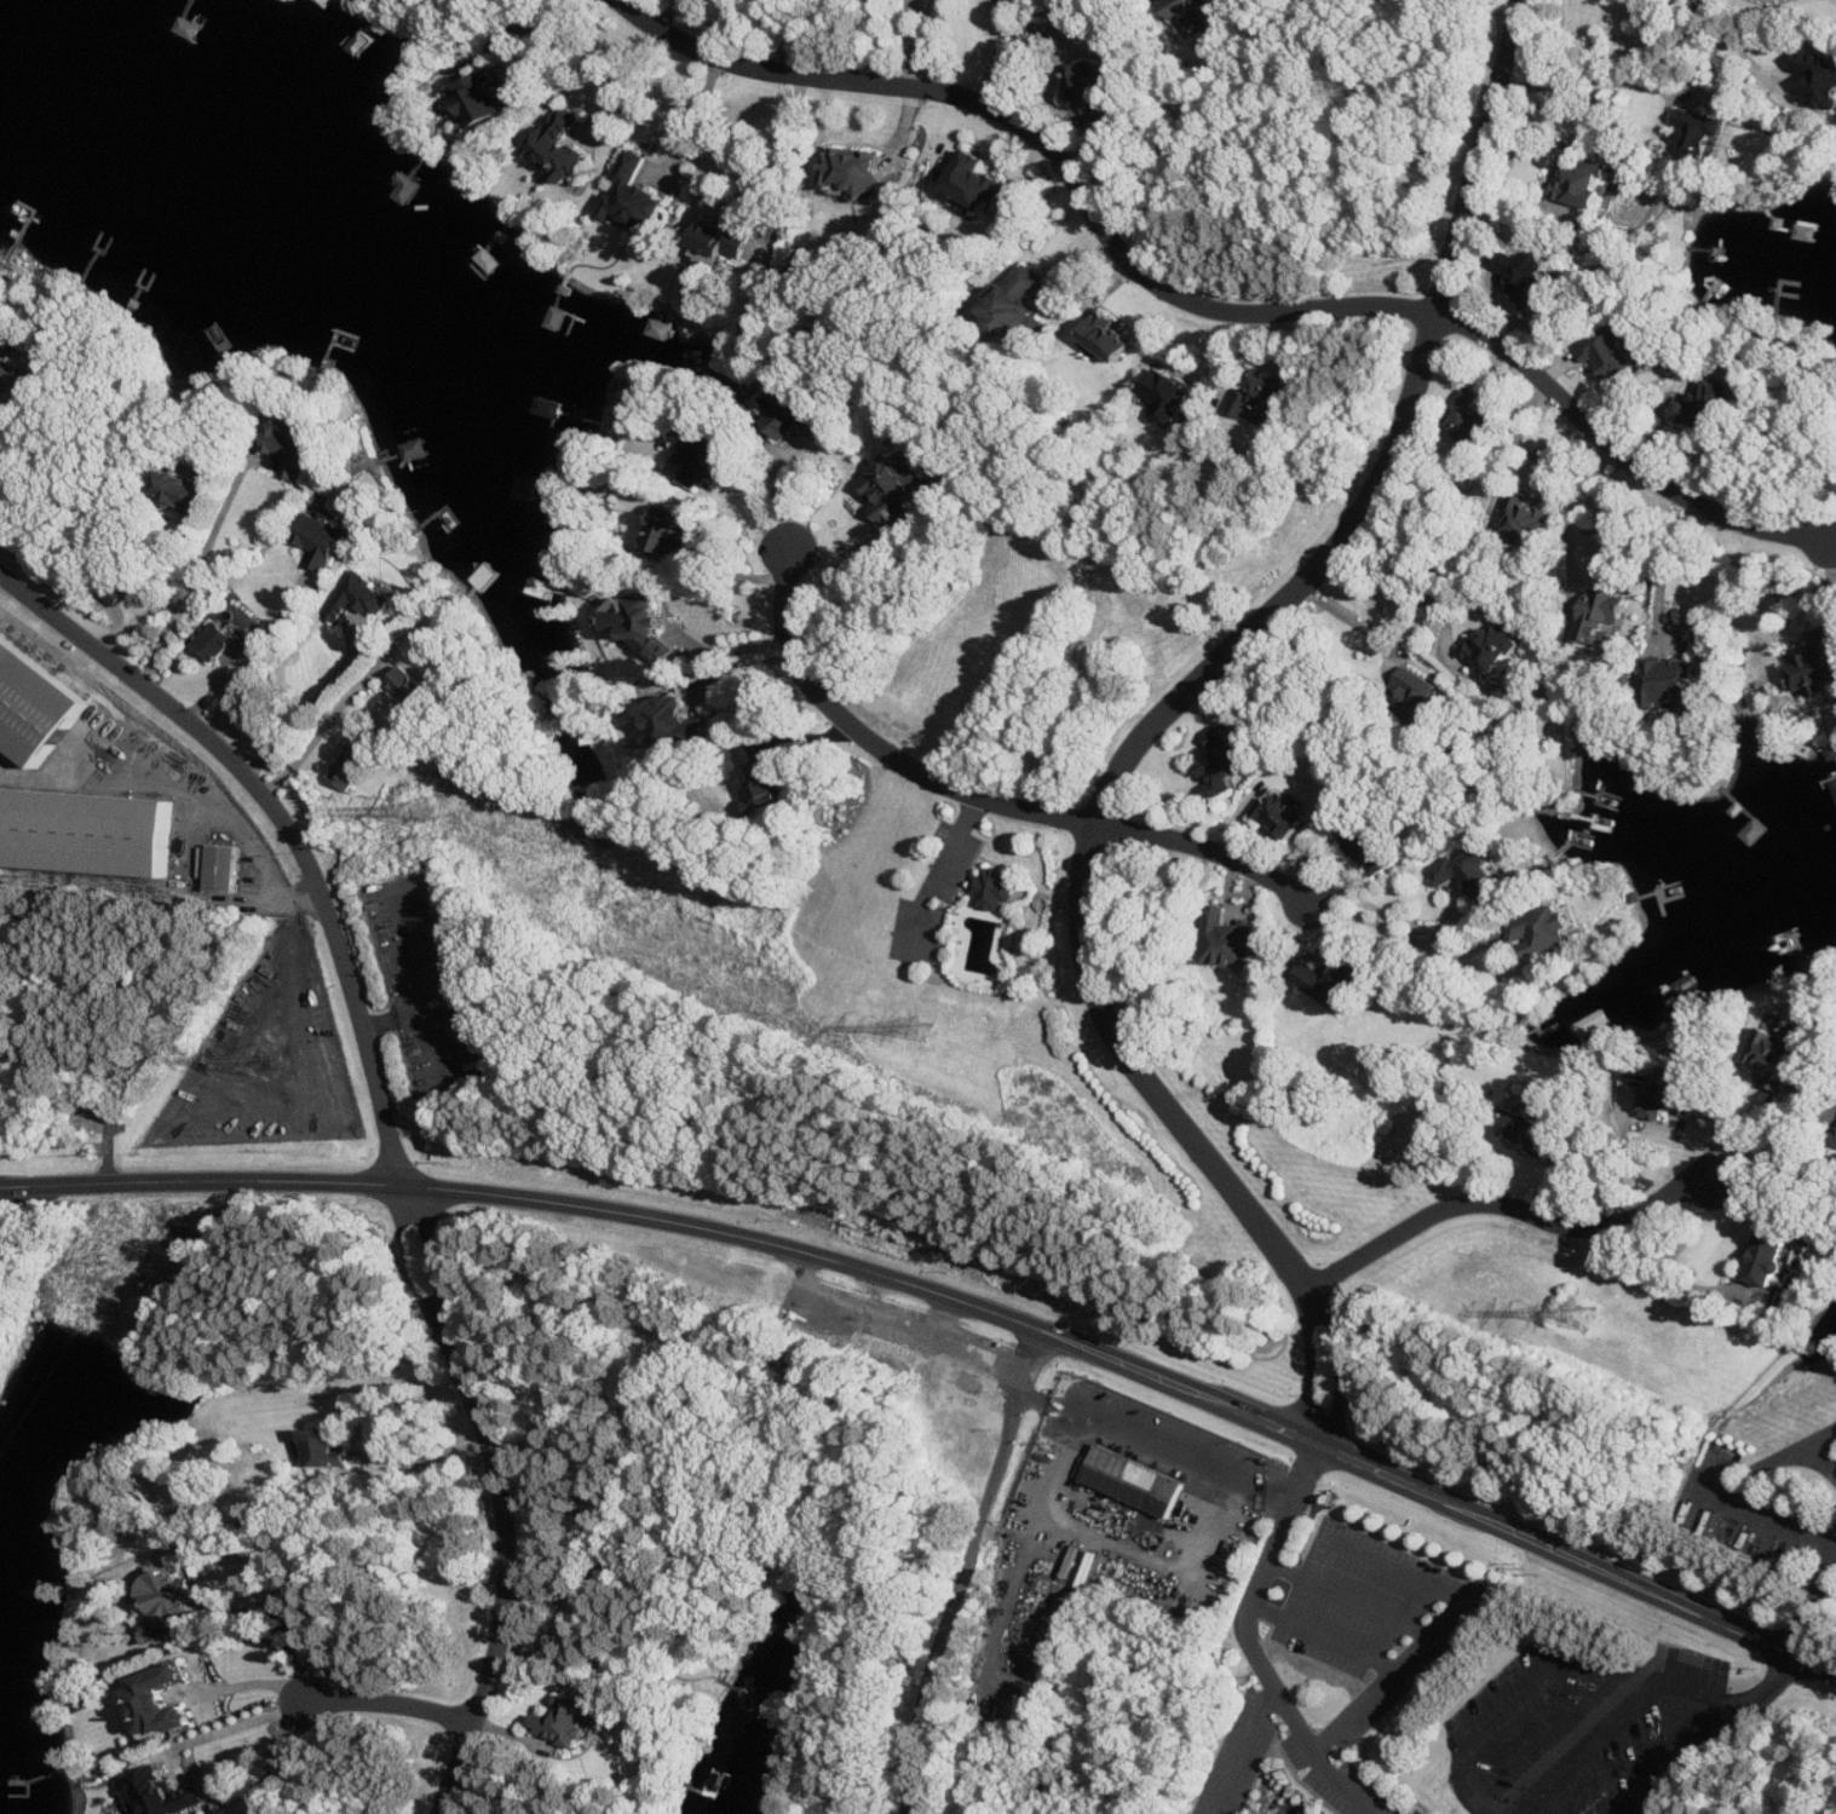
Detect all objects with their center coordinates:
building: (1190, 15)
road: (784, 36)
road: (887, 41)
road: (557, 45)
road: (1659, 47)
road: (1000, 52)
road: (1589, 76)
building: (1819, 77)
road: (632, 81)
building: (1094, 91)
building: (484, 100)
building: (1699, 134)
building: (562, 146)
road: (1049, 148)
road: (793, 150)
road: (1187, 154)
building: (856, 169)
building: (978, 182)
building: (1584, 190)
building: (635, 196)
building: (723, 243)
building: (1529, 277)
building: (1018, 307)
building: (660, 329)
building: (1110, 338)
building: (1611, 353)
building: (25, 376)
building: (1168, 396)
building: (1260, 398)
building: (1709, 408)
building: (795, 414)
road: (6, 415)
building: (1470, 419)
road: (1524, 436)
building: (292, 450)
road: (1623, 451)
building: (707, 456)
building: (185, 490)
building: (892, 490)
road: (777, 495)
road: (1583, 507)
building: (1529, 520)
building: (670, 534)
building: (323, 542)
road: (845, 547)
road: (1667, 566)
road: (1427, 580)
road: (196, 582)
building: (362, 599)
road: (154, 605)
road: (1356, 618)
building: (1601, 620)
building: (648, 627)
building: (219, 641)
road: (730, 647)
building: (1493, 651)
road: (242, 661)
building: (1818, 666)
road: (1213, 668)
building: (1673, 685)
building: (413, 689)
building: (1417, 691)
building: (35, 703)
road: (304, 716)
building: (678, 724)
road: (317, 738)
road: (880, 745)
building: (1222, 764)
building: (356, 765)
building: (769, 783)
building: (1835, 785)
road: (188, 788)
power tower: (424, 810)
building: (1284, 816)
road: (287, 823)
building: (86, 833)
road: (1208, 848)
building: (1374, 852)
building: (225, 869)
building: (1475, 869)
road: (936, 870)
building: (995, 889)
building: (1548, 929)
road: (1408, 935)
building: (1234, 945)
building: (1335, 983)
park: (108, 995)
power tower: (922, 1025)
building: (1778, 1053)
power tower: (263, 1061)
building: (1659, 1095)
road: (1745, 1119)
road: (1779, 1131)
building: (1532, 1134)
road: (1778, 1153)
road: (1622, 1158)
road: (408, 1196)
road: (1509, 1204)
road: (437, 1259)
road: (418, 1266)
road: (1668, 1277)
road: (949, 1297)
power tower: (1587, 1315)
road: (1326, 1317)
road: (1821, 1440)
road: (1161, 1446)
building: (327, 1451)
road: (425, 1457)
road: (1306, 1474)
building: (1135, 1481)
road: (1763, 1513)
road: (1115, 1541)
road: (507, 1566)
road: (967, 1572)
road: (1462, 1594)
road: (298, 1601)
road: (1813, 1601)
building: (168, 1603)
road: (1370, 1607)
road: (1328, 1637)
road: (1619, 1664)
road: (1267, 1671)
road: (257, 1685)
road: (1705, 1693)
building: (163, 1701)
road: (395, 1704)
road: (1516, 1710)
park: (1613, 1720)
building: (568, 1722)
road: (240, 1726)
road: (1717, 1737)
road: (1594, 1745)
road: (1247, 1750)
road: (284, 1764)
road: (1468, 1791)
building: (160, 1793)

